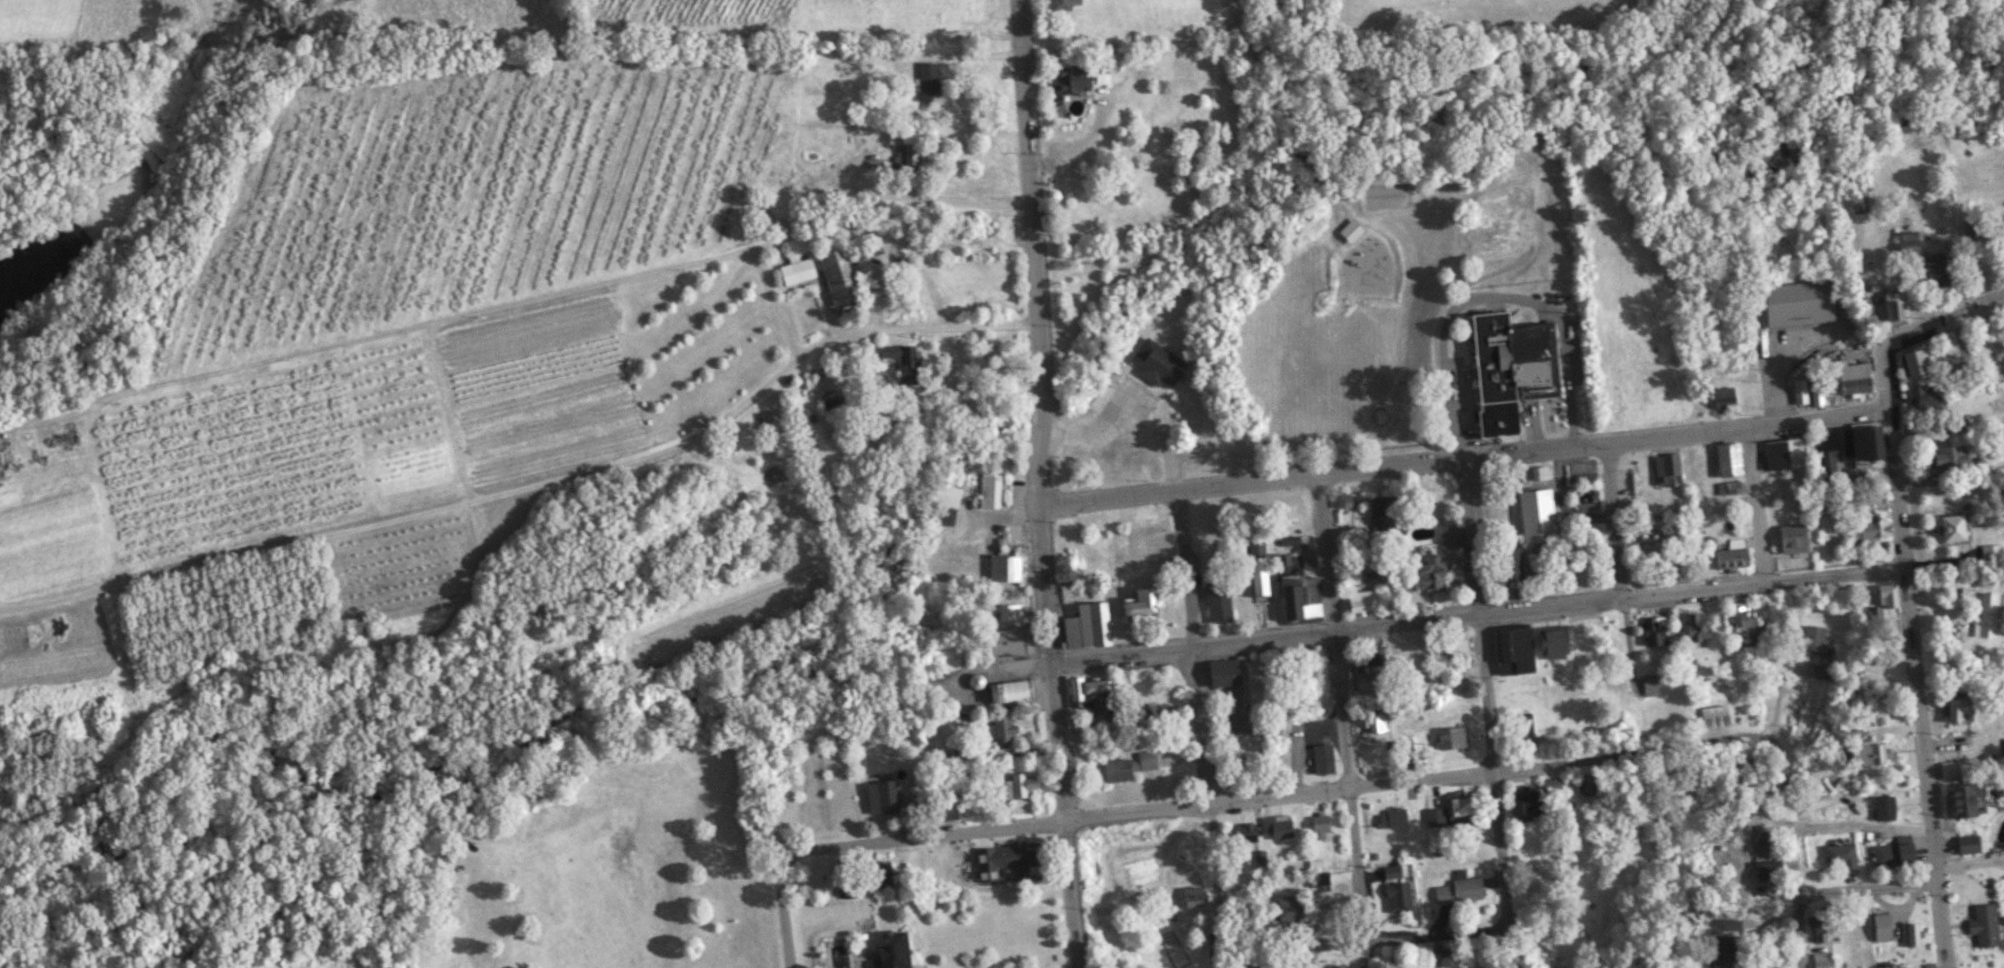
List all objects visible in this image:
building: (1059, 4)
road: (971, 55)
building: (1068, 77)
building: (926, 81)
road: (1078, 145)
building: (905, 156)
road: (929, 198)
building: (1349, 230)
road: (1033, 252)
building: (796, 269)
building: (1934, 272)
building: (835, 275)
road: (1492, 293)
road: (773, 303)
building: (1797, 303)
building: (1894, 307)
road: (495, 308)
road: (1914, 334)
building: (900, 361)
building: (1913, 361)
building: (1156, 363)
road: (1769, 366)
building: (1509, 367)
building: (1851, 377)
building: (822, 385)
building: (1799, 390)
building: (1816, 393)
building: (1926, 395)
building: (1722, 397)
road: (1128, 402)
building: (831, 403)
building: (1951, 425)
building: (1846, 446)
building: (1783, 452)
building: (1947, 457)
road: (1464, 458)
building: (1727, 458)
building: (1666, 468)
building: (1539, 472)
road: (532, 484)
building: (1728, 487)
building: (988, 490)
building: (2002, 498)
building: (1343, 501)
building: (943, 504)
road: (1756, 505)
building: (1381, 513)
building: (1536, 514)
building: (1950, 527)
building: (1872, 530)
building: (1448, 536)
building: (1792, 538)
building: (1647, 554)
building: (1990, 554)
building: (1730, 558)
building: (1308, 560)
building: (1508, 565)
road: (1618, 565)
building: (1004, 568)
building: (1257, 568)
building: (1425, 575)
building: (1351, 577)
building: (1300, 599)
building: (1218, 601)
building: (1137, 602)
building: (1359, 602)
building: (1883, 602)
building: (1009, 612)
road: (1477, 614)
building: (1989, 616)
building: (1741, 617)
building: (1086, 626)
building: (1697, 626)
building: (1652, 630)
building: (1813, 638)
building: (1007, 642)
building: (1551, 643)
building: (1453, 645)
building: (1512, 652)
building: (1822, 671)
building: (1222, 672)
building: (1368, 676)
building: (975, 680)
building: (1648, 686)
road: (1197, 688)
road: (1916, 688)
building: (1009, 691)
building: (1088, 694)
road: (1769, 695)
road: (1340, 706)
building: (1958, 710)
road: (1488, 713)
building: (1713, 716)
building: (1147, 718)
building: (1372, 722)
building: (999, 728)
building: (1522, 728)
building: (1836, 735)
road: (1058, 736)
building: (1448, 737)
building: (1405, 745)
building: (2003, 746)
building: (1867, 755)
building: (1321, 758)
building: (1128, 766)
building: (1952, 769)
building: (1554, 784)
building: (1588, 784)
building: (1018, 785)
road: (1278, 794)
building: (881, 796)
building: (1962, 798)
building: (1524, 804)
building: (1458, 806)
building: (1884, 808)
building: (942, 811)
building: (1433, 816)
building: (1391, 817)
building: (1318, 825)
building: (1275, 826)
building: (1242, 833)
building: (1762, 840)
building: (1967, 847)
building: (999, 852)
building: (1892, 854)
road: (1792, 855)
building: (1839, 855)
road: (1969, 860)
building: (1027, 863)
building: (1768, 870)
building: (1391, 871)
building: (1315, 872)
building: (879, 873)
road: (1867, 886)
building: (1459, 889)
building: (1397, 896)
building: (1193, 897)
building: (1289, 908)
road: (783, 913)
building: (1820, 921)
building: (1728, 923)
building: (1983, 924)
building: (1880, 926)
building: (1909, 933)
road: (1437, 934)
building: (1720, 951)
building: (890, 952)
road: (1367, 953)
building: (1438, 958)
building: (1821, 960)
building: (1342, 967)

